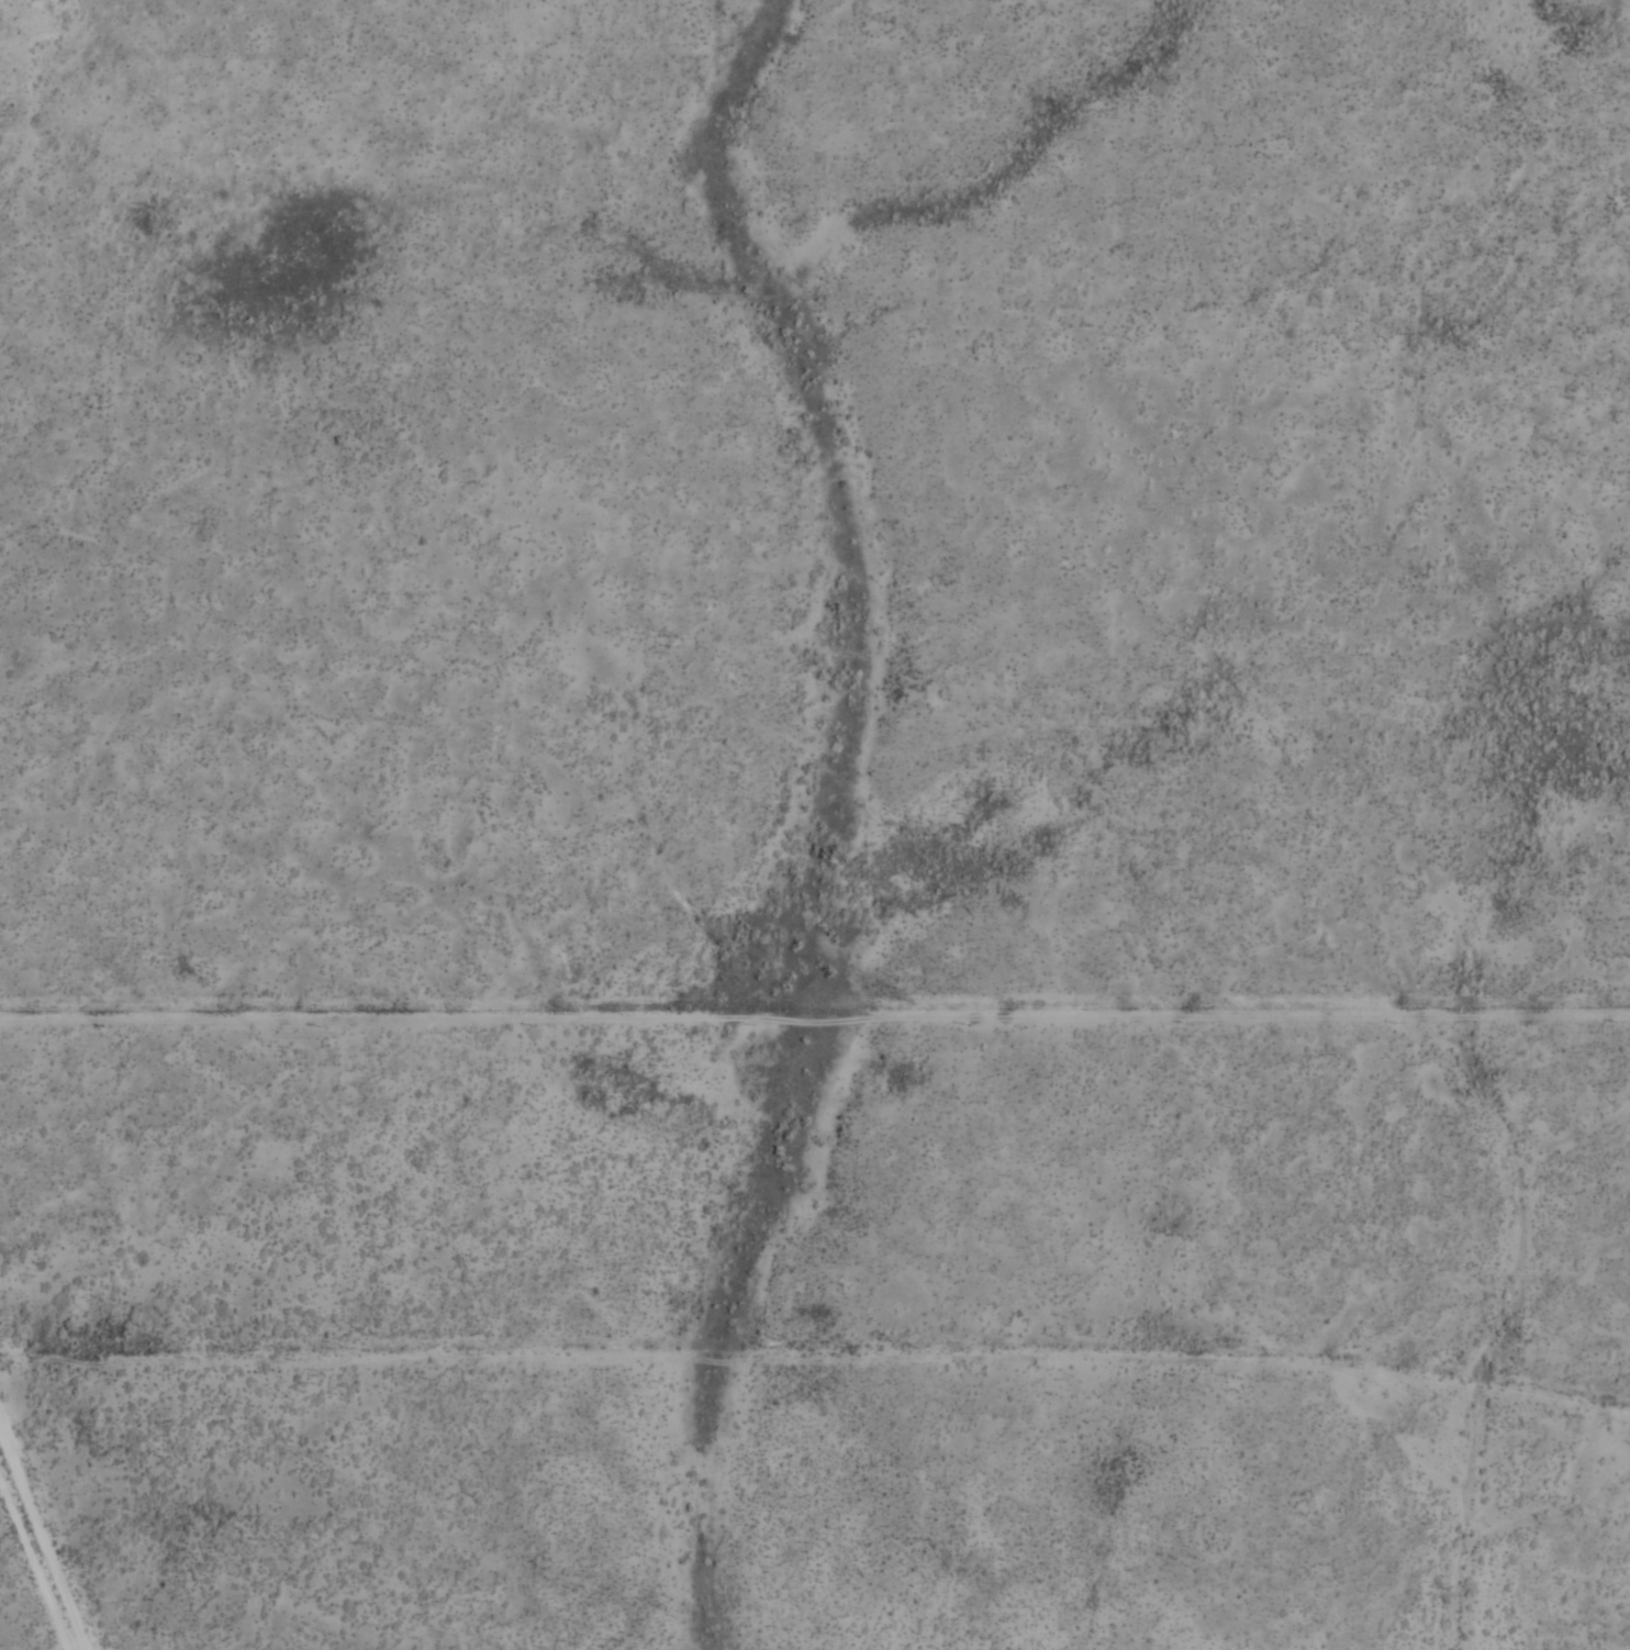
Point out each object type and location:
road: (45, 1539)

